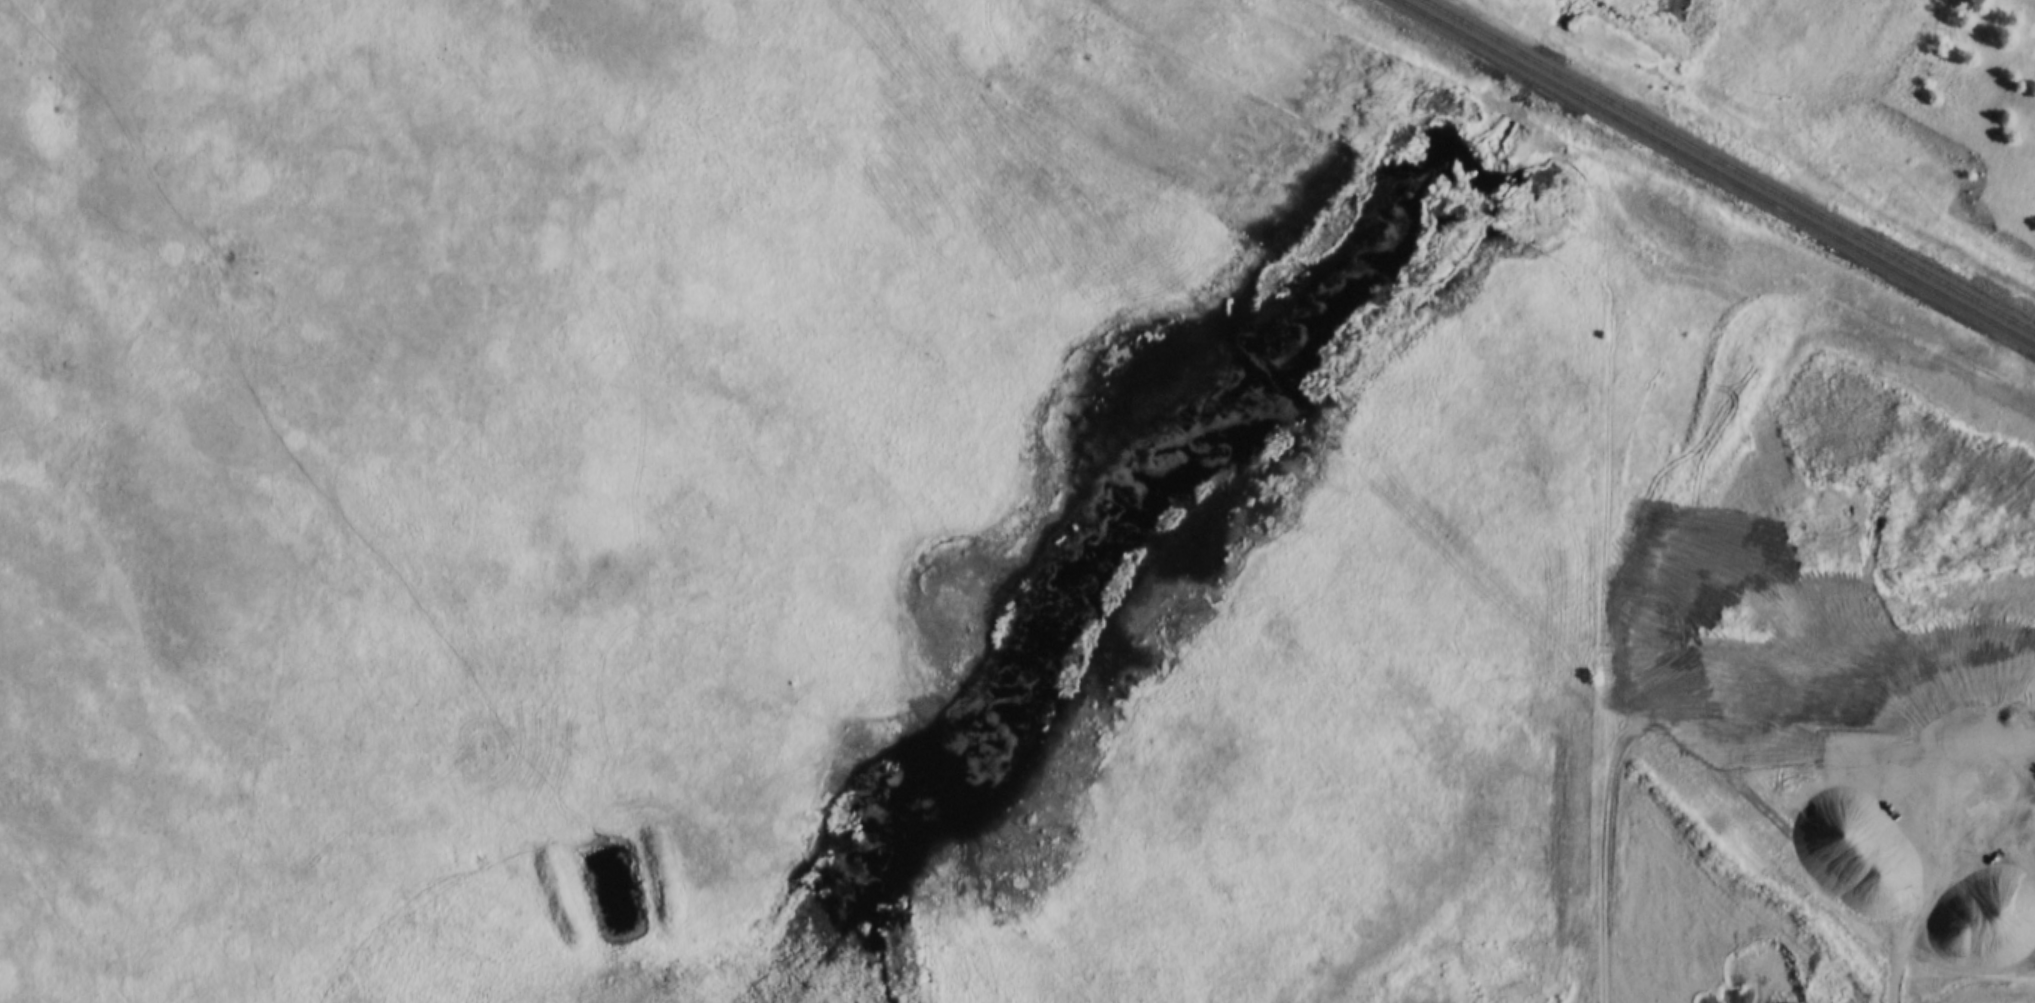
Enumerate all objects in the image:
railway: (1727, 167)
railway: (1715, 173)

